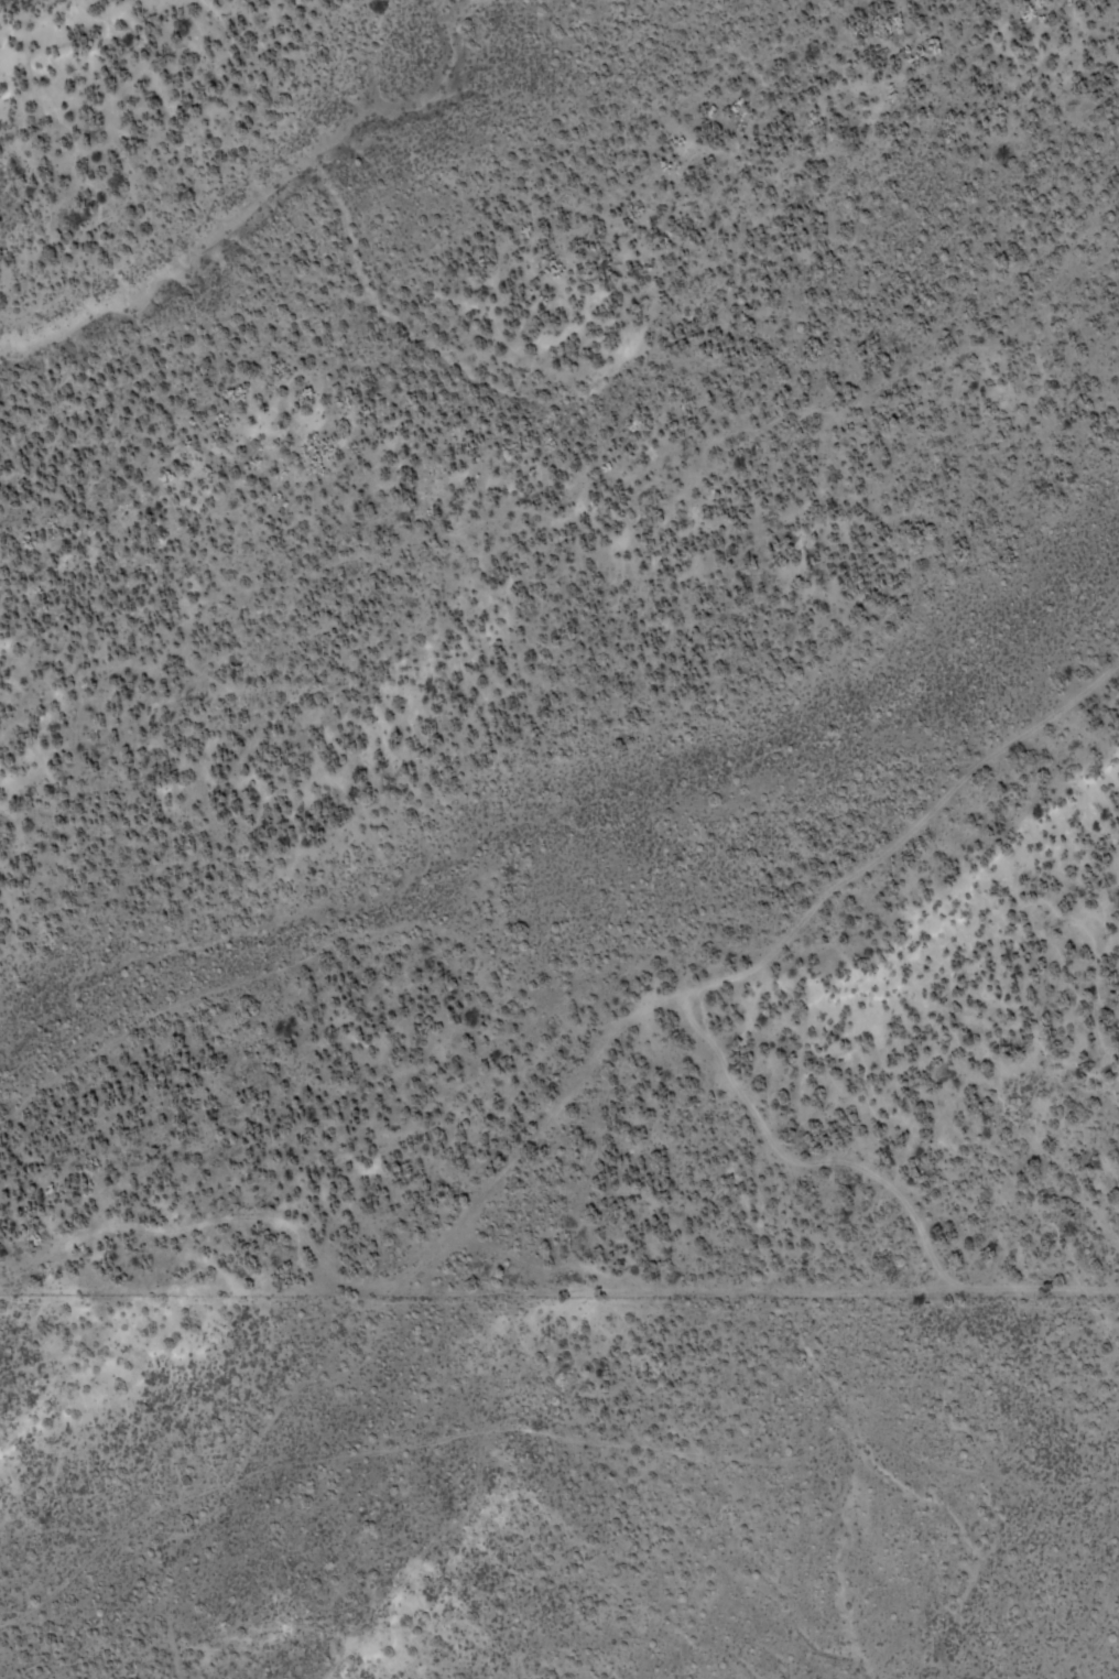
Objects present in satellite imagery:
road: (559, 1105)

